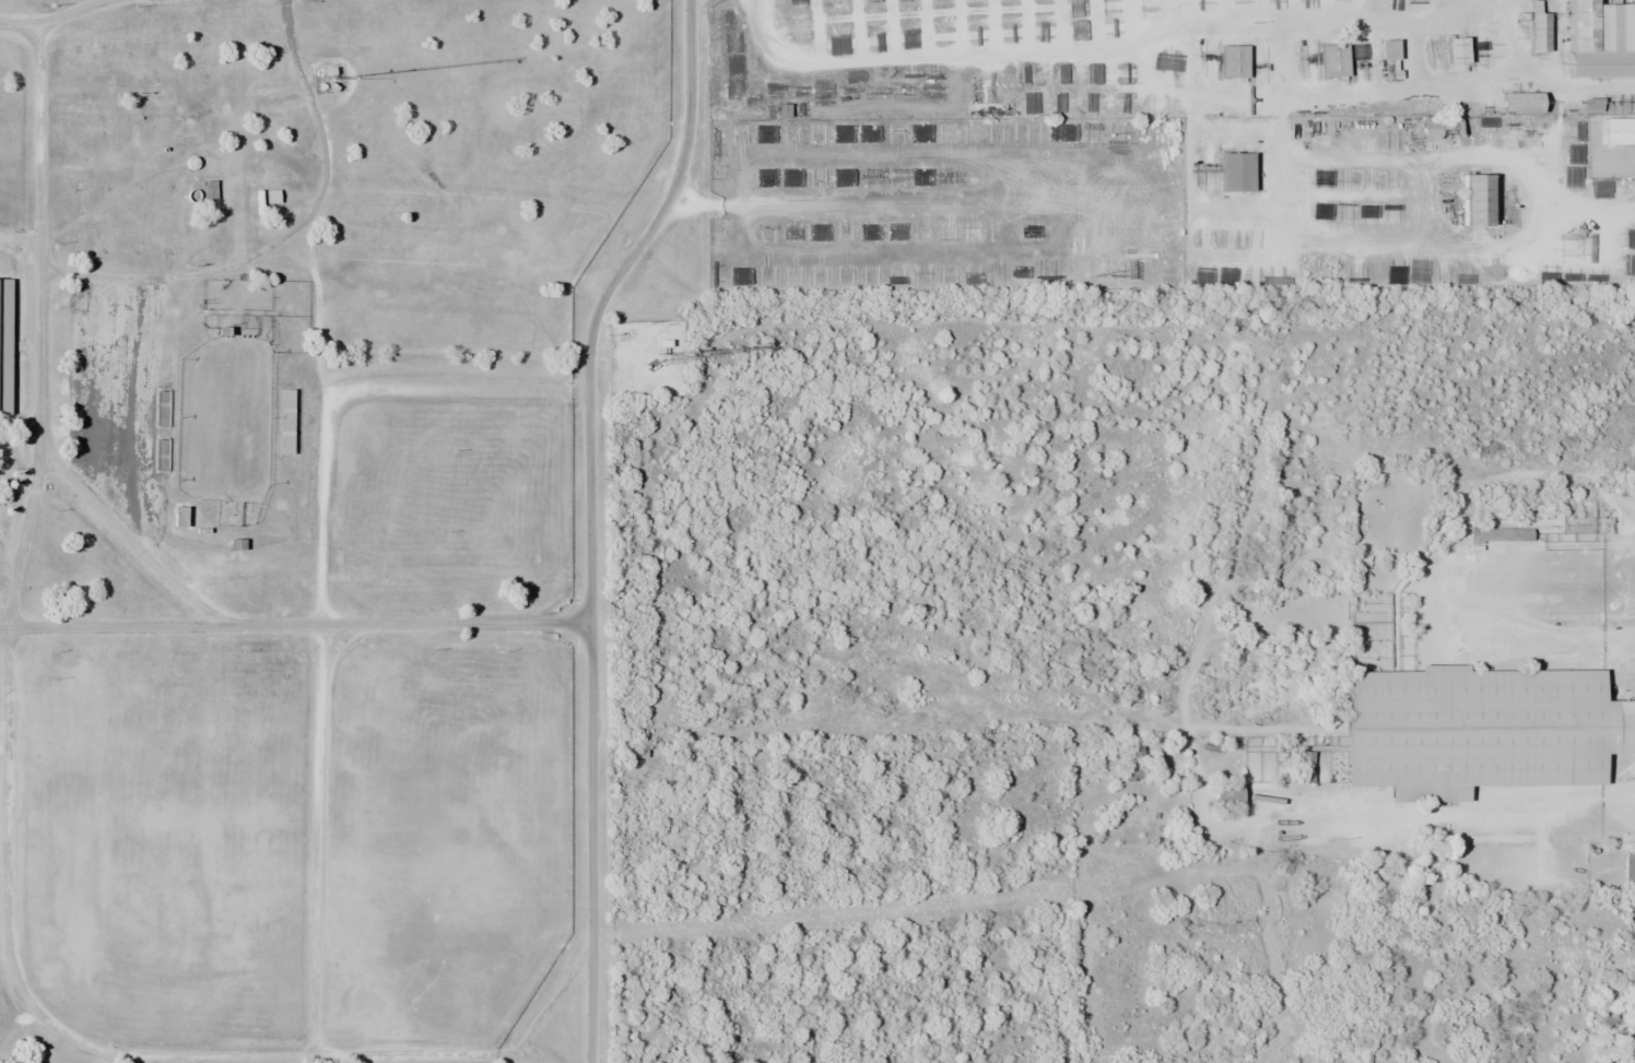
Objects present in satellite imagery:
road: (67, 15)
building: (1600, 24)
building: (1537, 27)
building: (1387, 48)
building: (1332, 59)
building: (1233, 60)
building: (66, 93)
building: (1519, 102)
building: (1618, 130)
building: (1475, 199)
road: (39, 318)
building: (4, 343)
building: (160, 454)
road: (587, 518)
building: (1497, 533)
road: (318, 724)
building: (1478, 729)
road: (7, 792)
building: (1226, 796)
building: (1628, 869)

